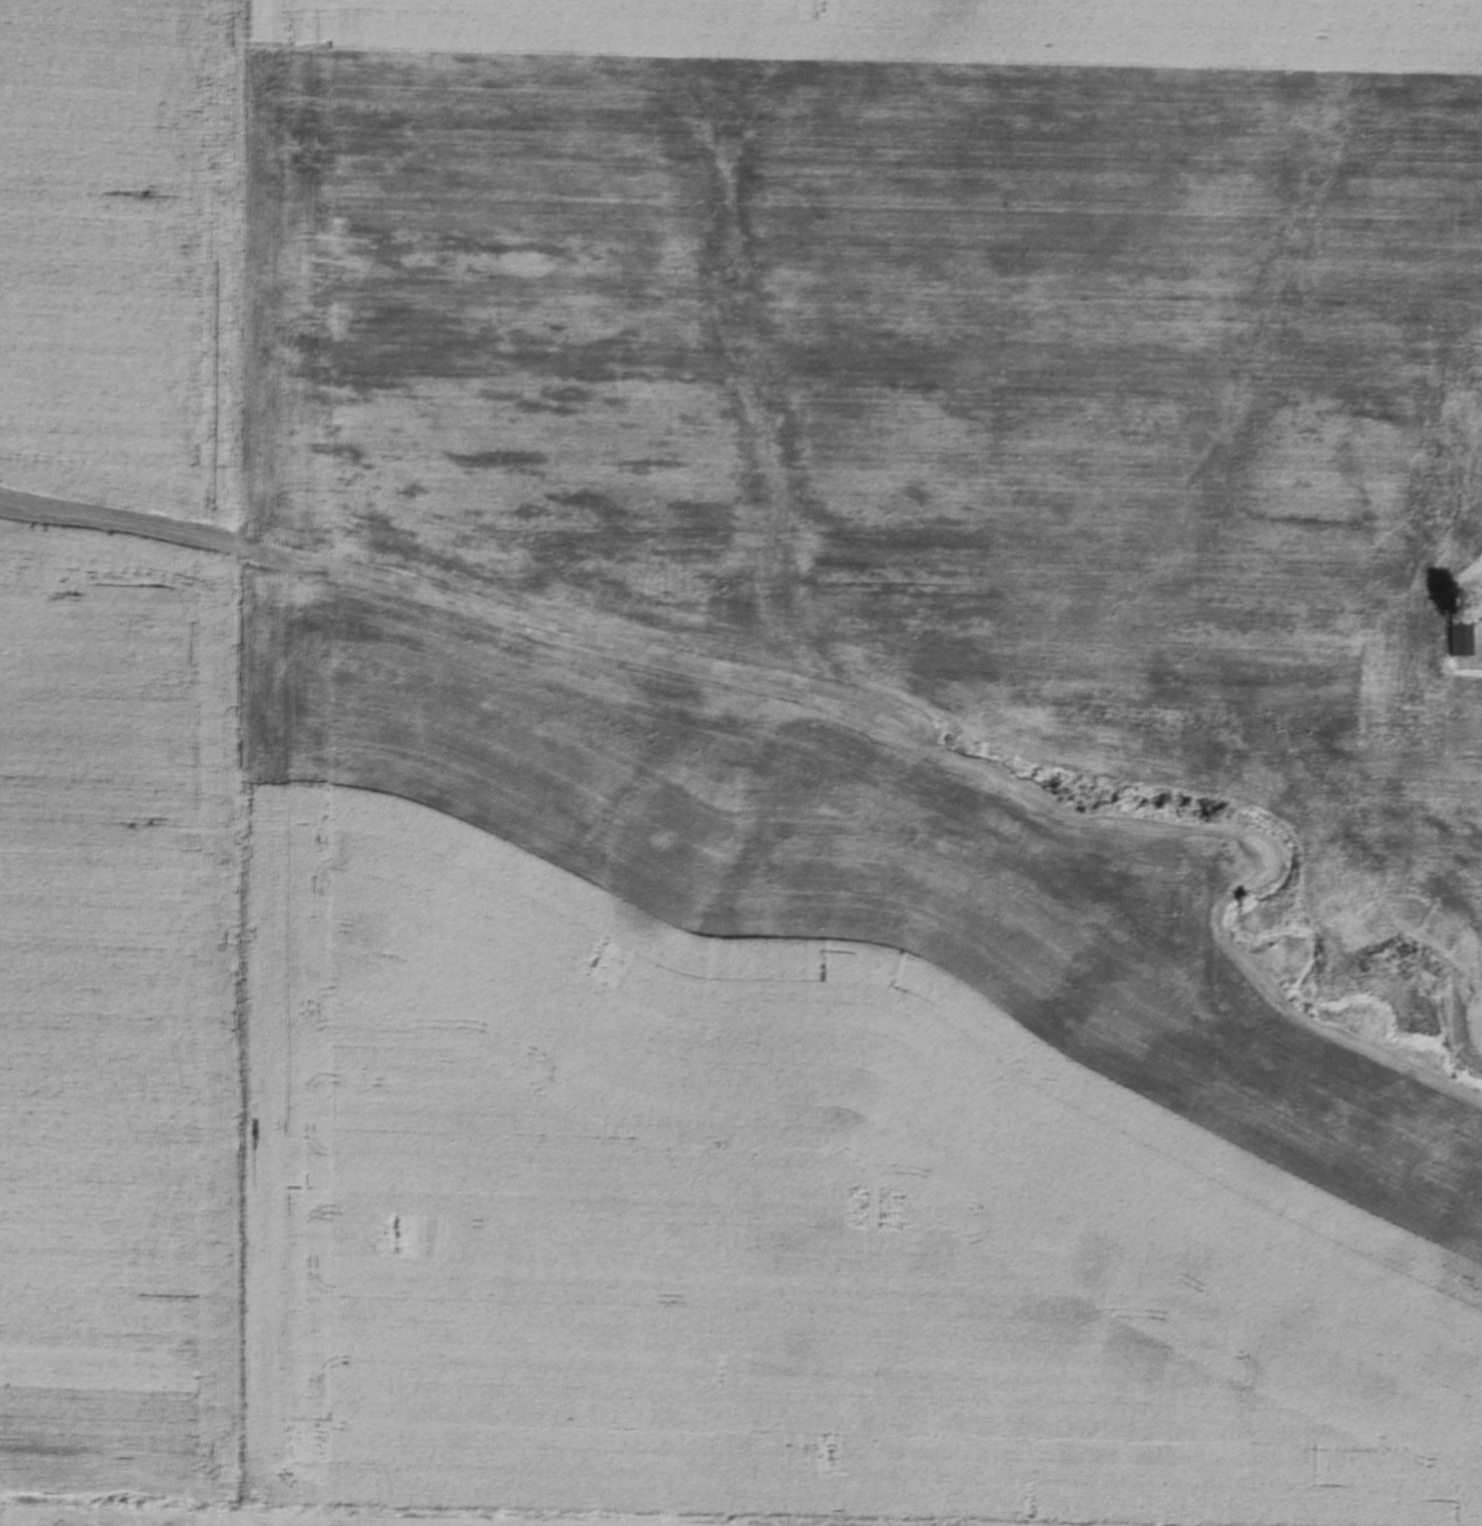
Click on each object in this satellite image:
building: (1460, 633)

